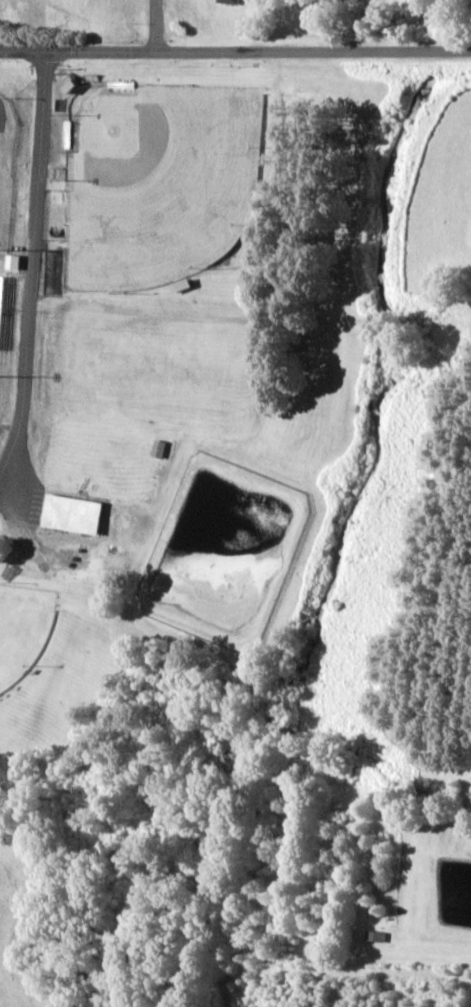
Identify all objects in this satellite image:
building: (228, 1)
road: (235, 48)
building: (13, 262)
road: (32, 265)
building: (71, 513)

